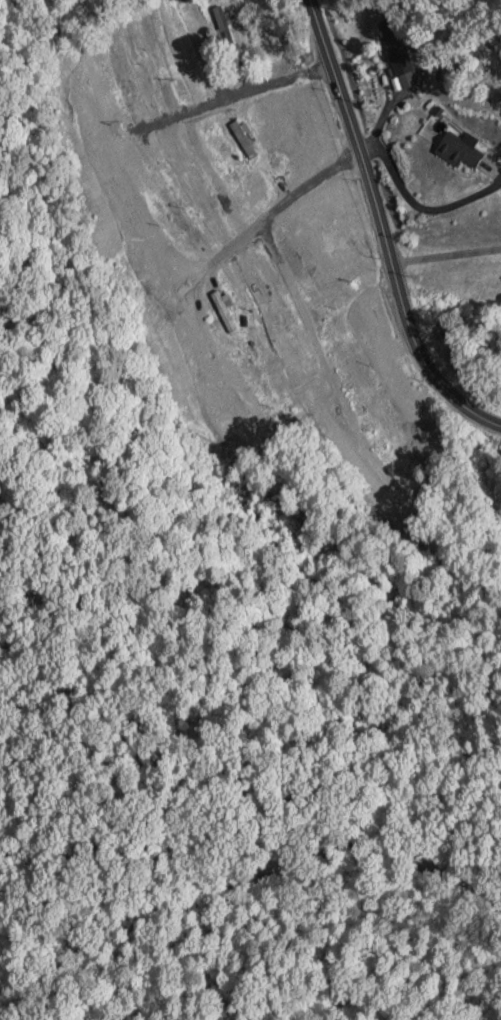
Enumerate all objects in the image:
building: (223, 25)
building: (149, 46)
building: (200, 47)
building: (396, 54)
building: (119, 74)
building: (68, 102)
building: (244, 142)
building: (456, 150)
building: (199, 198)
building: (173, 209)
building: (335, 227)
road: (383, 229)
building: (140, 243)
building: (302, 254)
building: (223, 311)
building: (275, 328)
building: (388, 383)
building: (318, 402)
building: (363, 475)
road: (245, 880)

